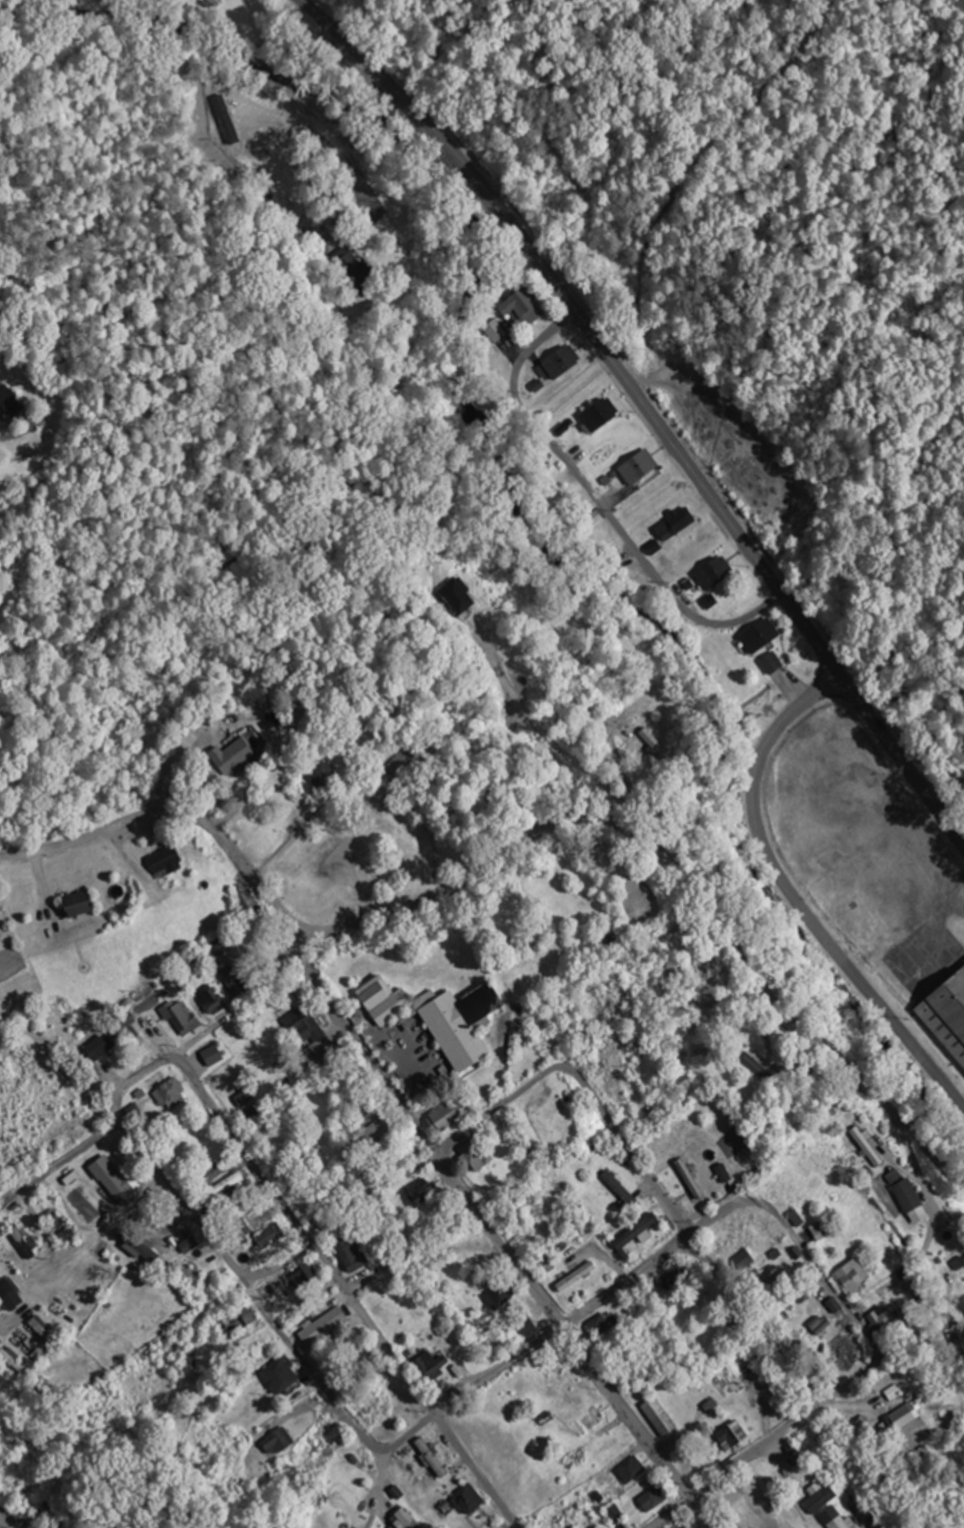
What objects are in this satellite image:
building: (216, 3)
road: (311, 74)
building: (344, 263)
building: (528, 305)
building: (499, 333)
building: (563, 364)
building: (13, 403)
road: (646, 410)
building: (597, 414)
building: (636, 466)
road: (596, 503)
building: (594, 518)
building: (672, 524)
building: (615, 566)
building: (711, 572)
building: (456, 599)
building: (757, 635)
building: (707, 645)
building: (770, 663)
road: (786, 722)
building: (653, 743)
building: (228, 757)
building: (400, 762)
building: (320, 775)
road: (174, 815)
building: (161, 861)
road: (683, 874)
building: (247, 903)
building: (85, 904)
building: (218, 946)
road: (839, 956)
building: (230, 978)
building: (207, 999)
building: (952, 1003)
building: (433, 1017)
building: (122, 1020)
building: (306, 1033)
building: (97, 1047)
building: (210, 1056)
road: (154, 1068)
building: (963, 1069)
building: (168, 1094)
building: (441, 1117)
building: (538, 1126)
building: (377, 1131)
building: (862, 1139)
building: (473, 1154)
road: (68, 1158)
road: (427, 1160)
road: (61, 1164)
building: (203, 1168)
building: (721, 1173)
building: (687, 1179)
building: (109, 1180)
building: (616, 1188)
building: (419, 1191)
building: (908, 1201)
building: (816, 1231)
building: (630, 1232)
road: (493, 1234)
building: (591, 1234)
building: (26, 1242)
road: (678, 1243)
building: (140, 1248)
building: (456, 1250)
building: (347, 1255)
building: (542, 1261)
road: (704, 1261)
building: (741, 1261)
building: (296, 1274)
building: (764, 1276)
building: (847, 1278)
building: (666, 1279)
road: (935, 1287)
road: (349, 1292)
building: (13, 1295)
road: (255, 1295)
building: (498, 1296)
building: (877, 1319)
road: (4, 1320)
building: (229, 1322)
building: (603, 1324)
building: (320, 1326)
building: (524, 1326)
building: (45, 1330)
building: (0, 1340)
building: (492, 1341)
building: (837, 1353)
building: (427, 1366)
building: (275, 1375)
building: (394, 1405)
road: (817, 1408)
building: (655, 1417)
building: (899, 1418)
building: (584, 1422)
building: (728, 1435)
building: (272, 1443)
building: (429, 1457)
building: (628, 1470)
building: (796, 1484)
building: (465, 1499)
building: (648, 1499)
building: (612, 1514)
building: (830, 1519)
building: (398, 1520)

